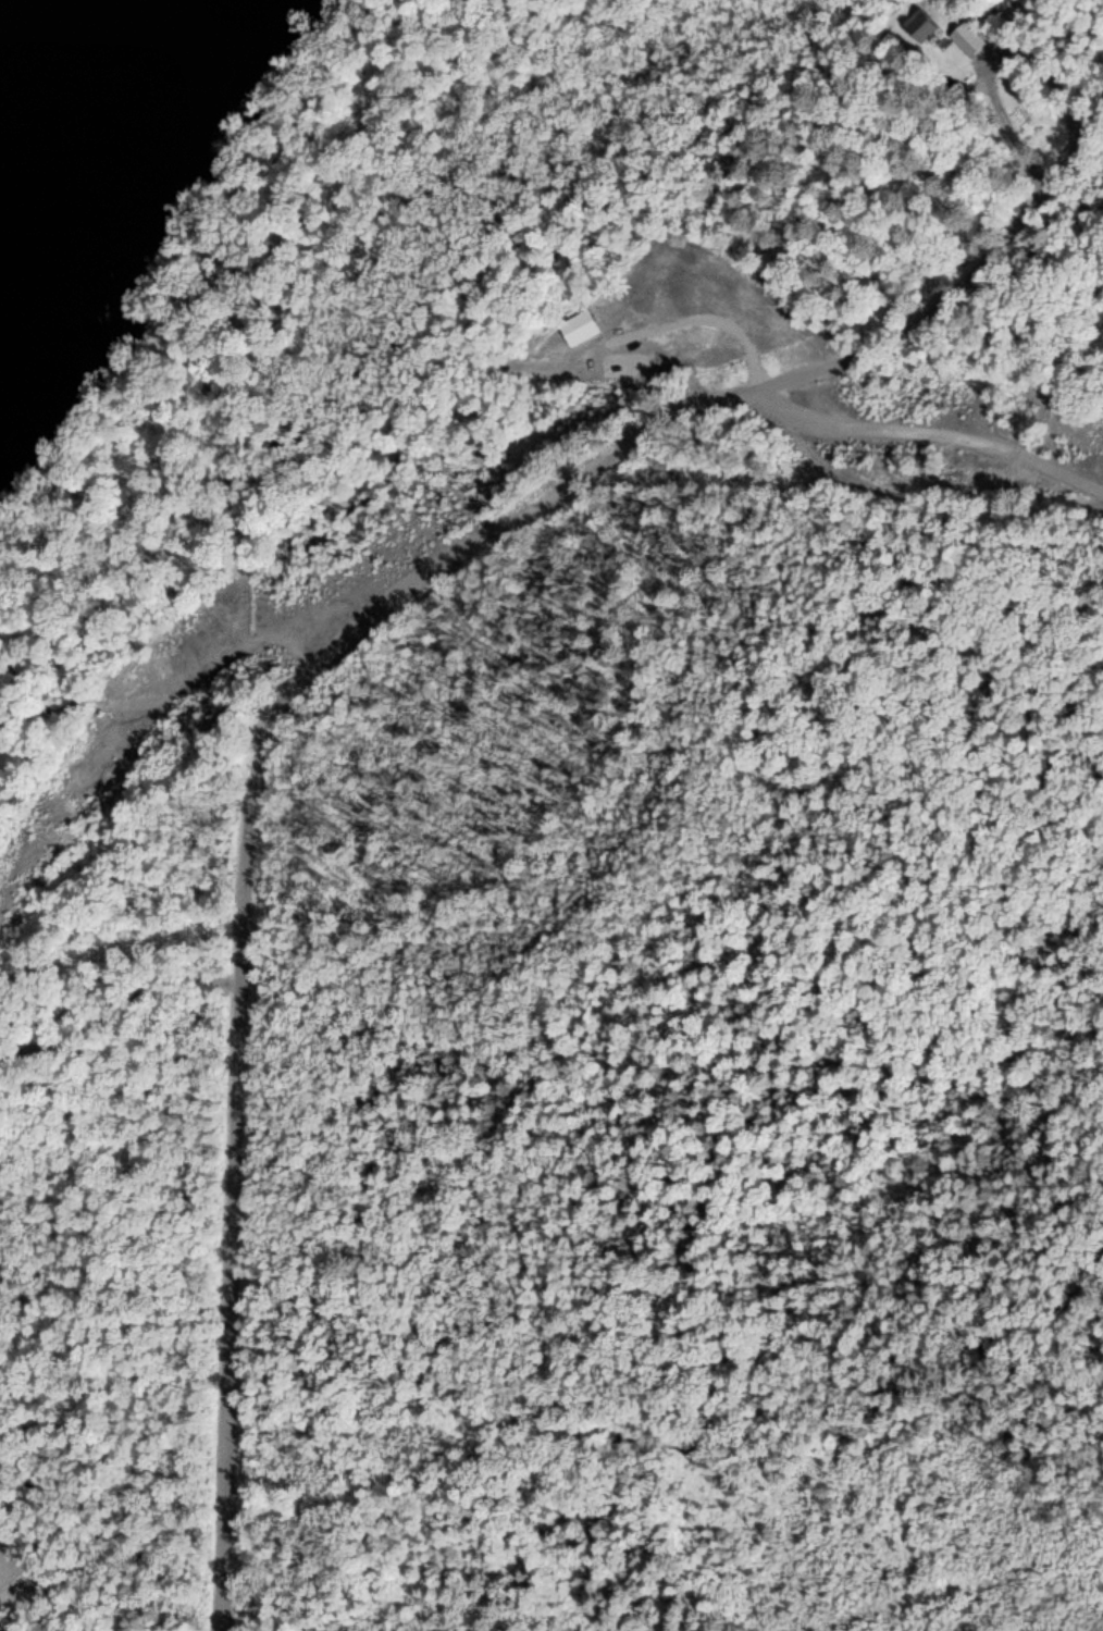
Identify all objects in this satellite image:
river: (91, 144)
road: (927, 431)
road: (322, 662)
road: (1, 1626)

